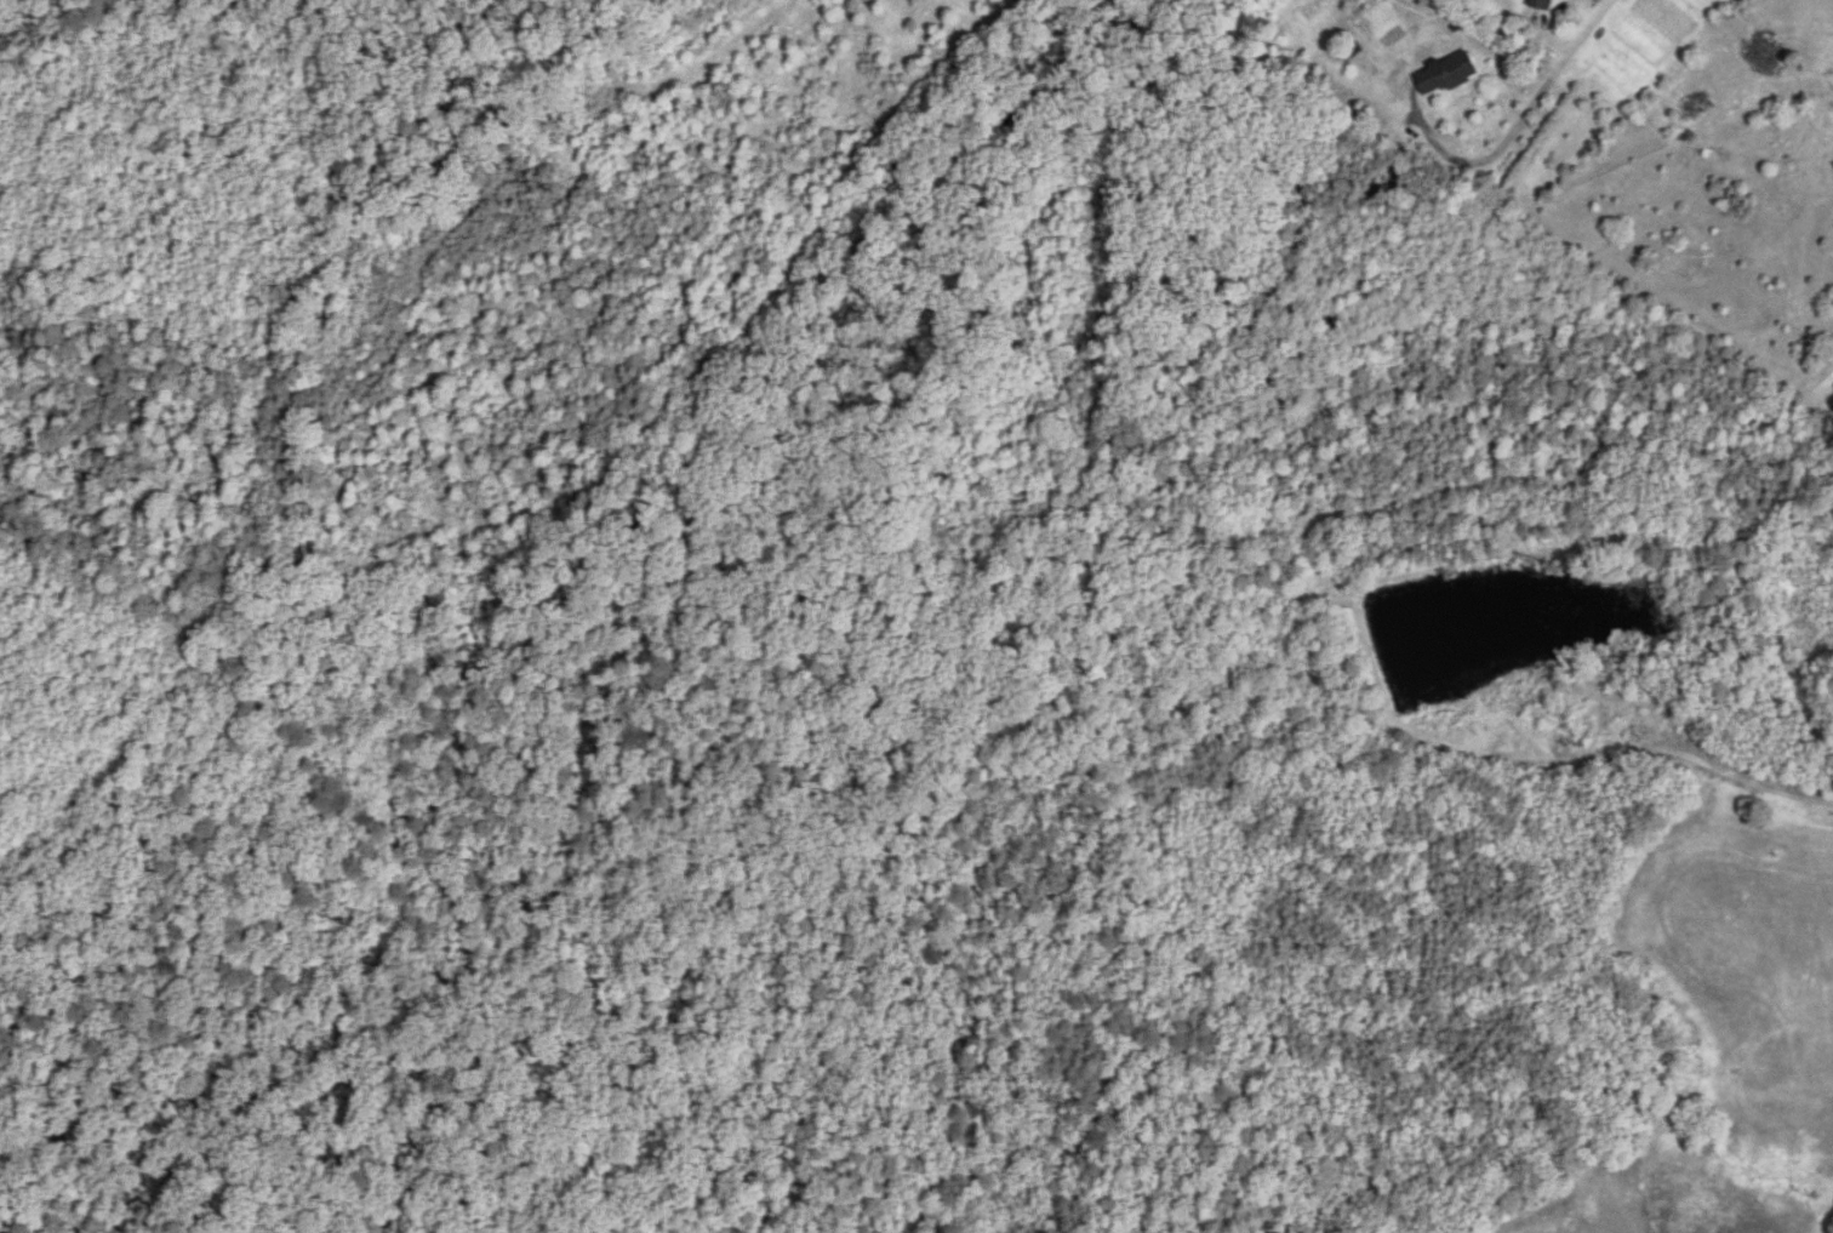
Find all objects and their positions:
building: (1445, 76)
road: (1552, 76)
road: (1438, 145)

